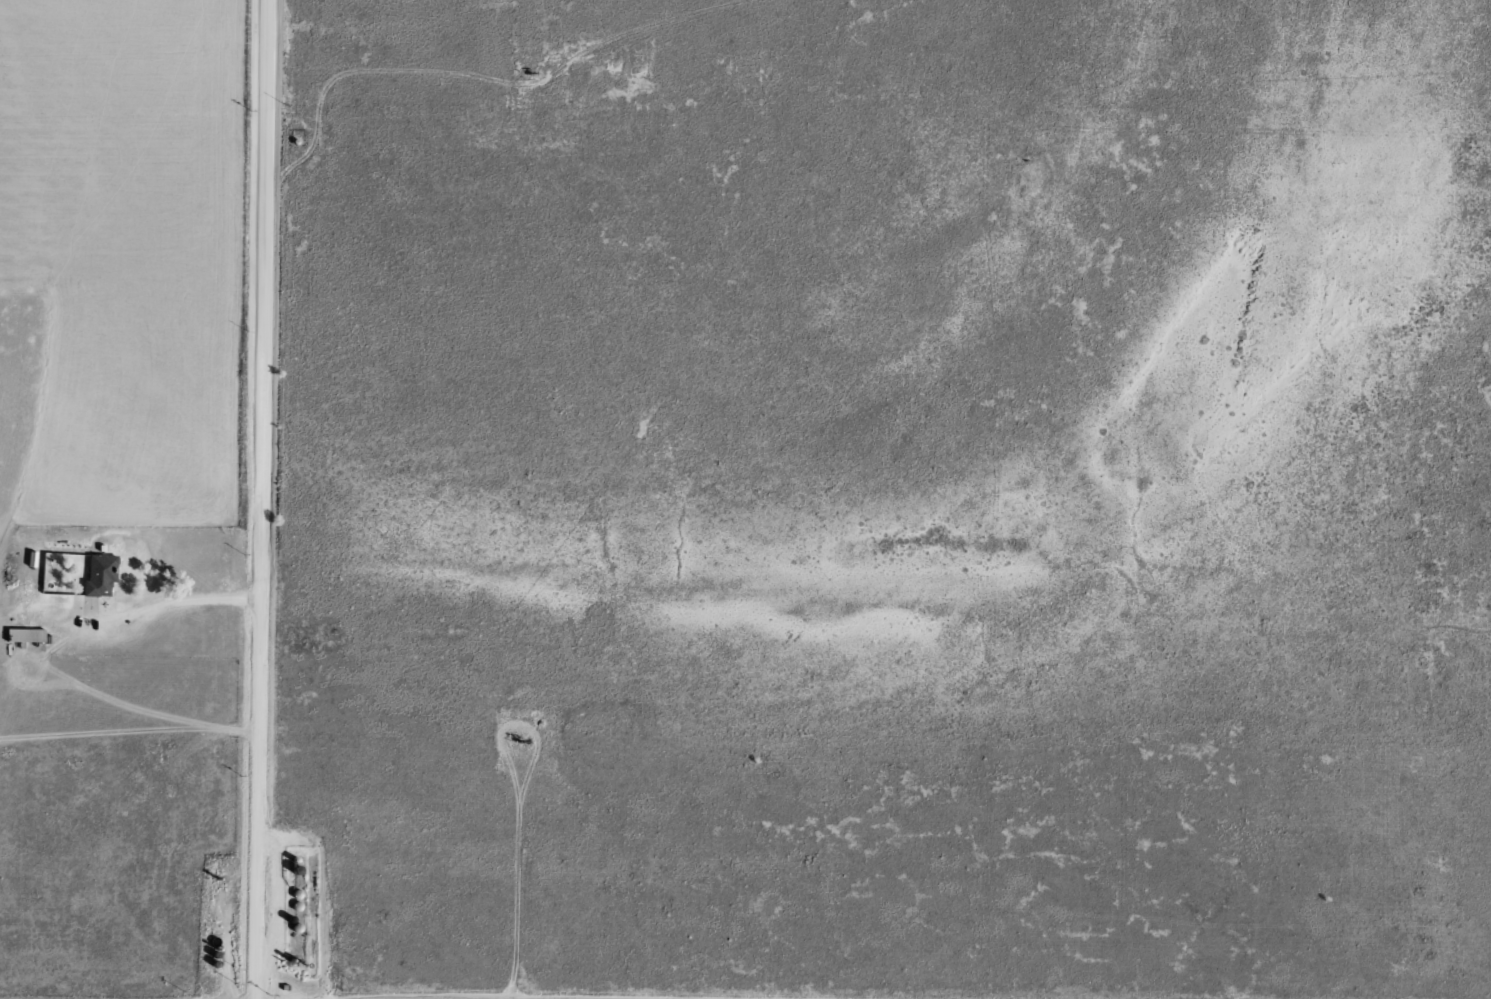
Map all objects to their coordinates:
road: (269, 499)
road: (181, 609)
building: (24, 634)
petroleum well: (522, 745)

